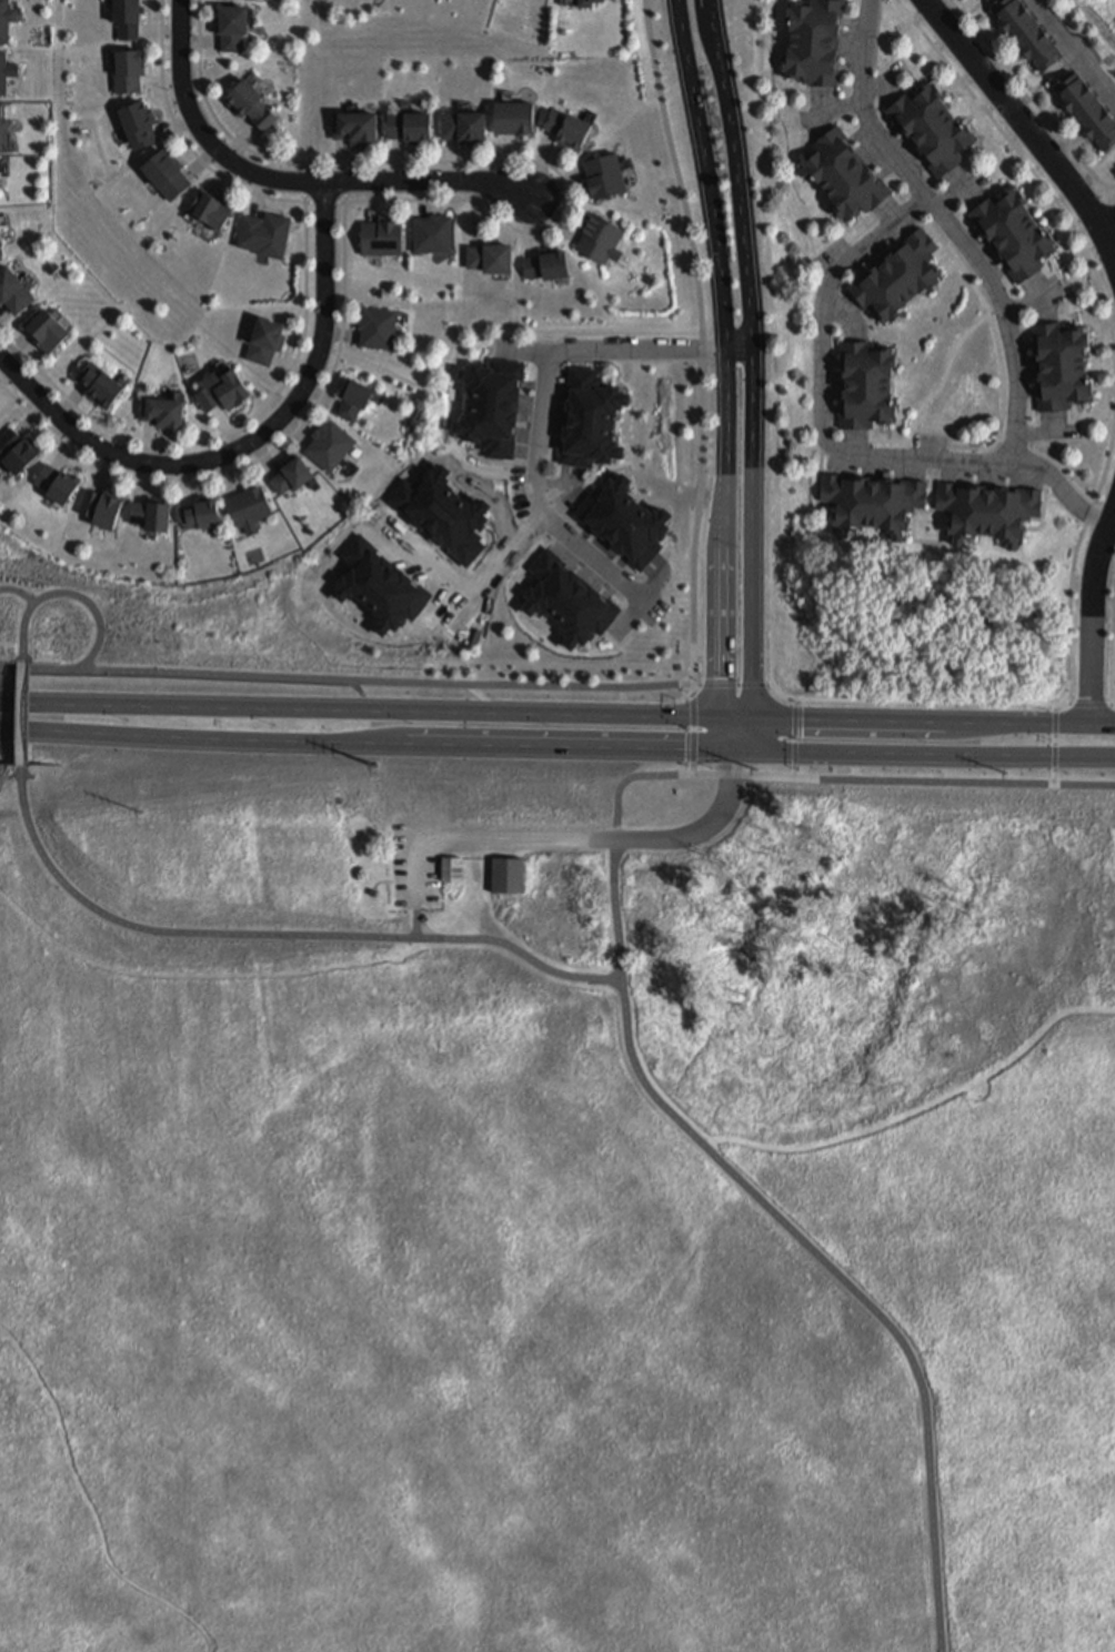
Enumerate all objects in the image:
building: (234, 0)
building: (582, 1)
building: (124, 16)
park: (1099, 18)
building: (6, 20)
building: (229, 23)
road: (159, 27)
building: (1026, 30)
road: (878, 34)
road: (198, 38)
building: (810, 41)
road: (1073, 51)
building: (125, 68)
building: (3, 72)
road: (161, 79)
road: (1032, 98)
building: (248, 102)
building: (1086, 107)
building: (512, 115)
building: (135, 121)
road: (174, 122)
building: (461, 123)
building: (353, 124)
building: (406, 124)
building: (565, 125)
building: (3, 127)
road: (1025, 128)
building: (935, 129)
road: (200, 158)
road: (229, 158)
road: (503, 158)
road: (342, 159)
road: (396, 159)
road: (451, 159)
road: (540, 162)
road: (1027, 165)
building: (163, 170)
building: (602, 174)
building: (845, 175)
road: (293, 178)
road: (556, 181)
building: (0, 182)
road: (707, 184)
road: (257, 190)
road: (739, 192)
road: (422, 194)
road: (1111, 195)
road: (371, 197)
building: (208, 205)
road: (475, 209)
road: (1096, 211)
road: (556, 212)
road: (530, 222)
road: (951, 224)
road: (1108, 225)
road: (551, 226)
building: (262, 231)
building: (430, 231)
building: (596, 233)
building: (1018, 233)
building: (380, 234)
road: (1099, 245)
building: (1, 253)
building: (486, 255)
building: (544, 263)
building: (900, 279)
building: (14, 291)
road: (2, 310)
road: (985, 312)
building: (375, 324)
building: (43, 329)
road: (338, 332)
building: (261, 339)
road: (703, 340)
road: (533, 341)
road: (13, 343)
road: (495, 347)
road: (500, 349)
road: (627, 349)
road: (291, 360)
road: (6, 371)
road: (390, 371)
building: (1058, 375)
building: (863, 381)
building: (97, 382)
building: (218, 387)
road: (320, 392)
road: (13, 395)
building: (351, 396)
building: (489, 403)
building: (161, 410)
building: (587, 416)
road: (33, 420)
road: (238, 422)
road: (227, 424)
road: (294, 424)
road: (938, 433)
road: (147, 440)
road: (245, 440)
road: (887, 440)
road: (832, 441)
building: (327, 443)
road: (67, 451)
road: (263, 452)
building: (19, 453)
road: (262, 454)
road: (1106, 463)
road: (103, 472)
road: (225, 472)
building: (289, 473)
road: (142, 477)
road: (184, 481)
building: (58, 485)
road: (562, 486)
road: (539, 498)
building: (247, 504)
building: (875, 507)
building: (102, 508)
building: (198, 511)
building: (150, 512)
building: (988, 514)
road: (1088, 514)
road: (725, 546)
road: (752, 555)
road: (421, 556)
road: (492, 571)
road: (18, 593)
building: (570, 600)
road: (1095, 612)
road: (100, 628)
road: (11, 642)
road: (23, 652)
road: (388, 681)
road: (767, 685)
road: (697, 686)
road: (716, 686)
road: (735, 686)
road: (750, 686)
road: (694, 691)
road: (475, 693)
road: (792, 703)
road: (1005, 704)
road: (1062, 704)
road: (1091, 706)
road: (1112, 706)
road: (492, 707)
road: (368, 709)
road: (694, 711)
road: (22, 714)
traffic signals: (735, 718)
road: (792, 722)
road: (925, 722)
road: (1056, 723)
road: (694, 729)
road: (734, 733)
road: (792, 739)
road: (1055, 739)
road: (366, 742)
road: (694, 745)
traffic signals: (734, 747)
road: (924, 752)
road: (792, 754)
road: (1055, 756)
power tower: (375, 764)
power tower: (754, 767)
road: (693, 768)
road: (792, 772)
power tower: (1008, 774)
road: (745, 776)
road: (1055, 776)
road: (965, 782)
road: (22, 784)
road: (11, 803)
power tower: (141, 814)
road: (583, 840)
road: (615, 856)
parking lot: (416, 863)
building: (453, 868)
building: (508, 876)
road: (418, 915)
road: (295, 934)
road: (202, 976)
road: (922, 1109)
road: (850, 1285)
road: (91, 1503)

